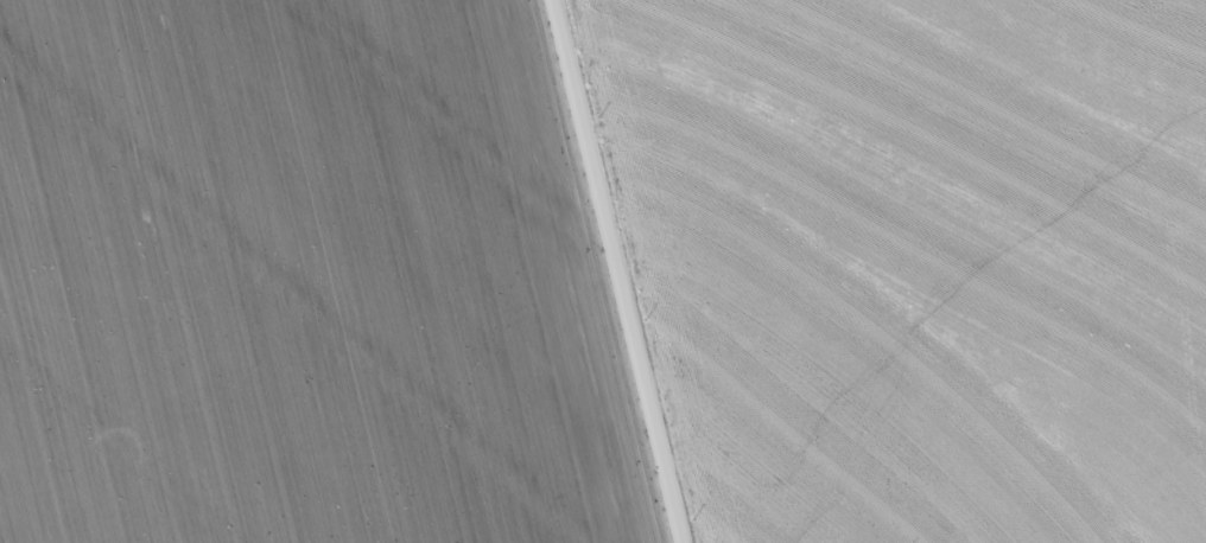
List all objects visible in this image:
road: (622, 271)

